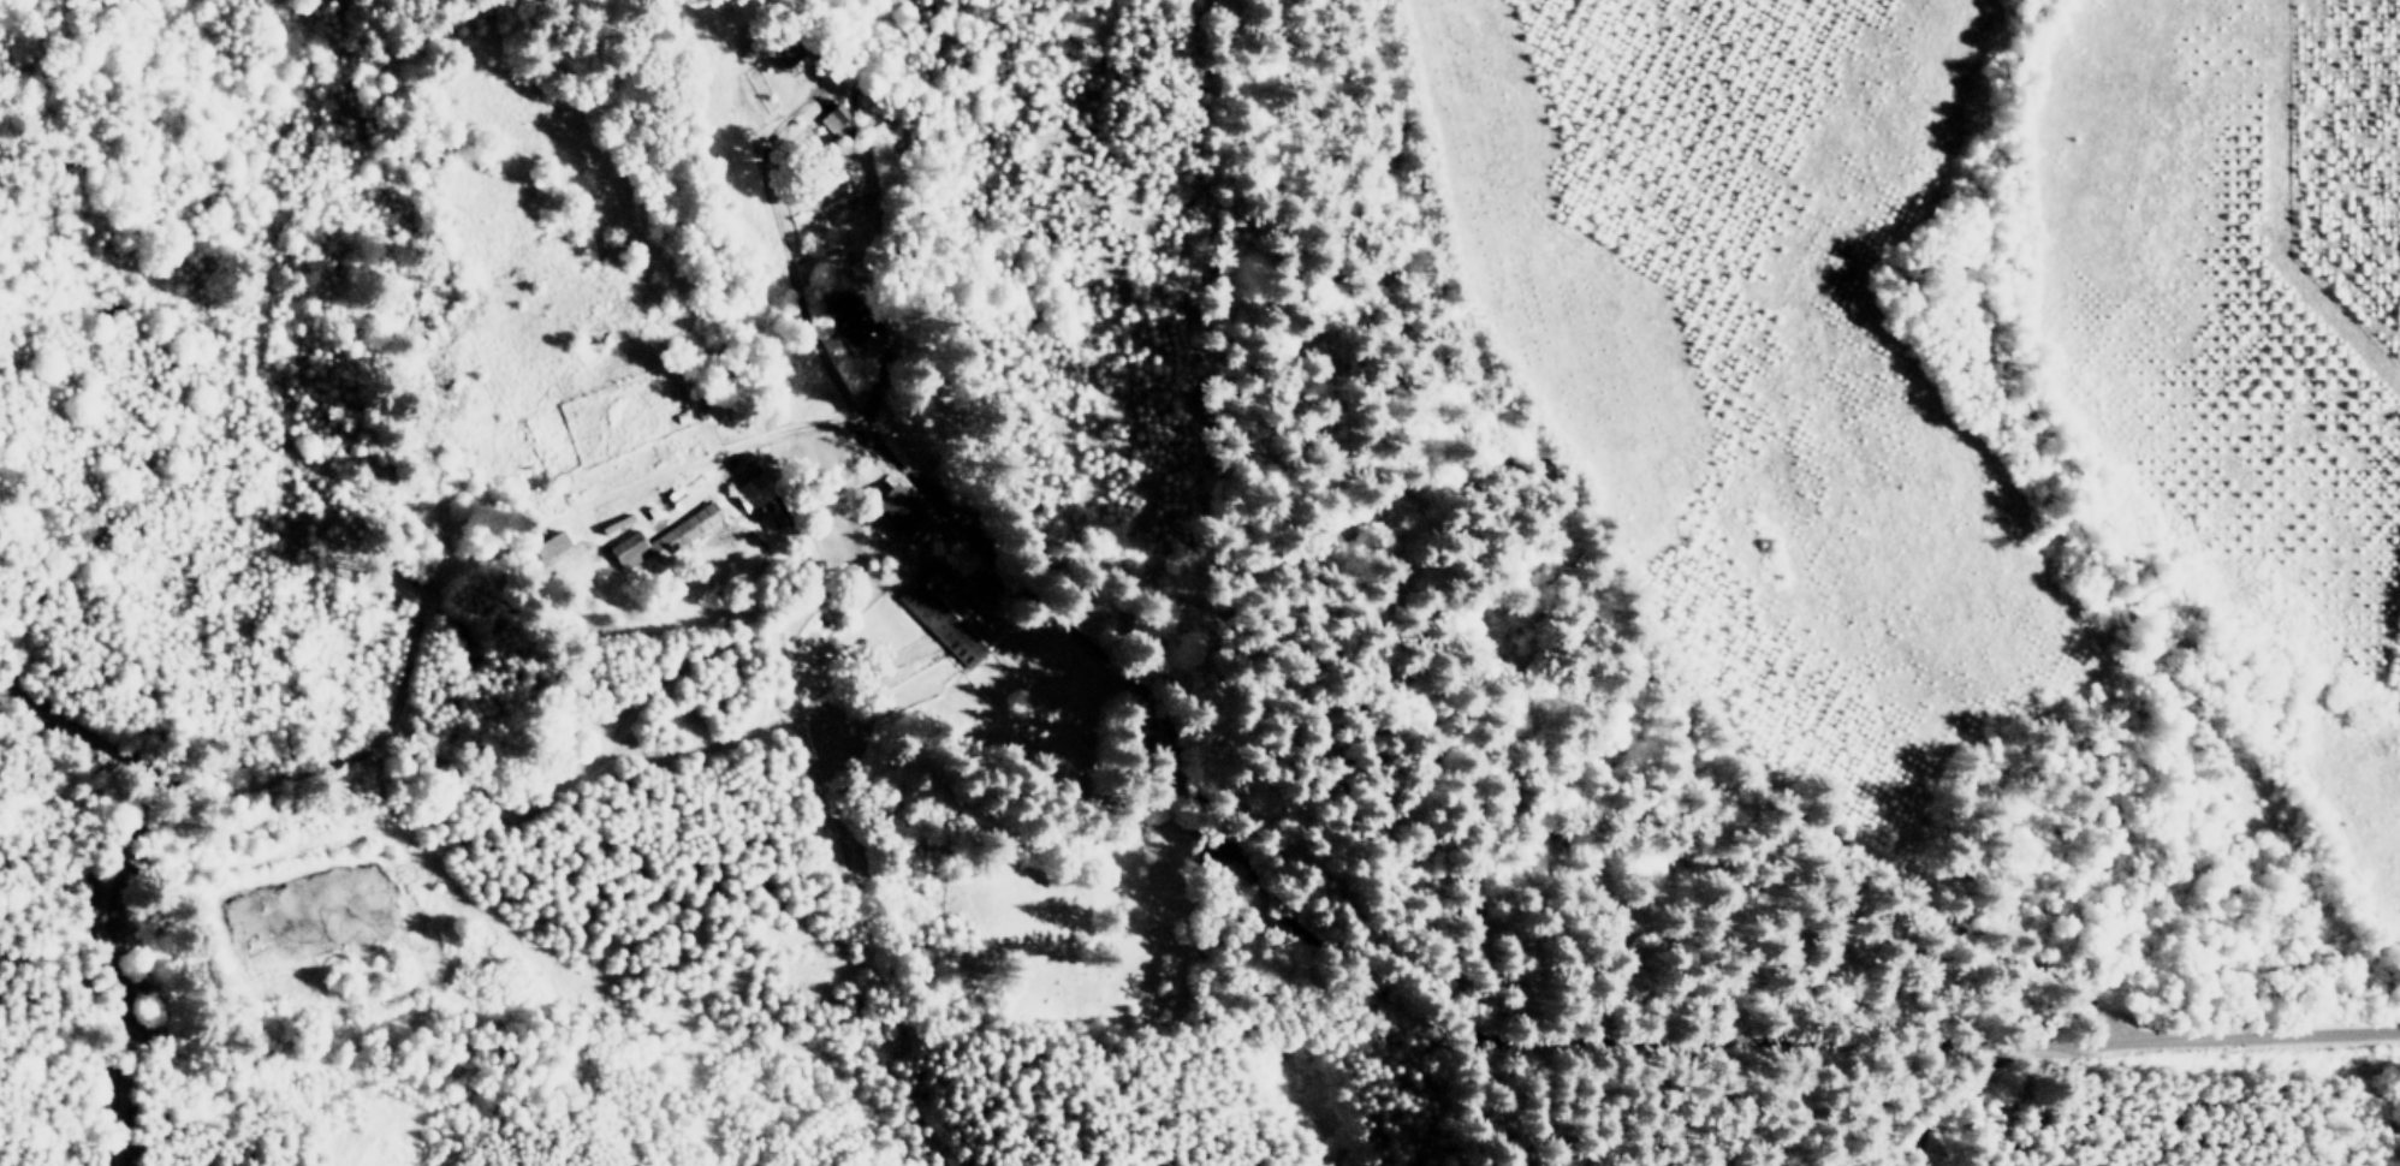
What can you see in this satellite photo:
building: (786, 52)
building: (848, 316)
building: (752, 490)
building: (896, 511)
building: (551, 545)
road: (917, 566)
road: (1651, 602)
building: (950, 620)
road: (1036, 744)
road: (2264, 1035)
road: (1920, 1108)

